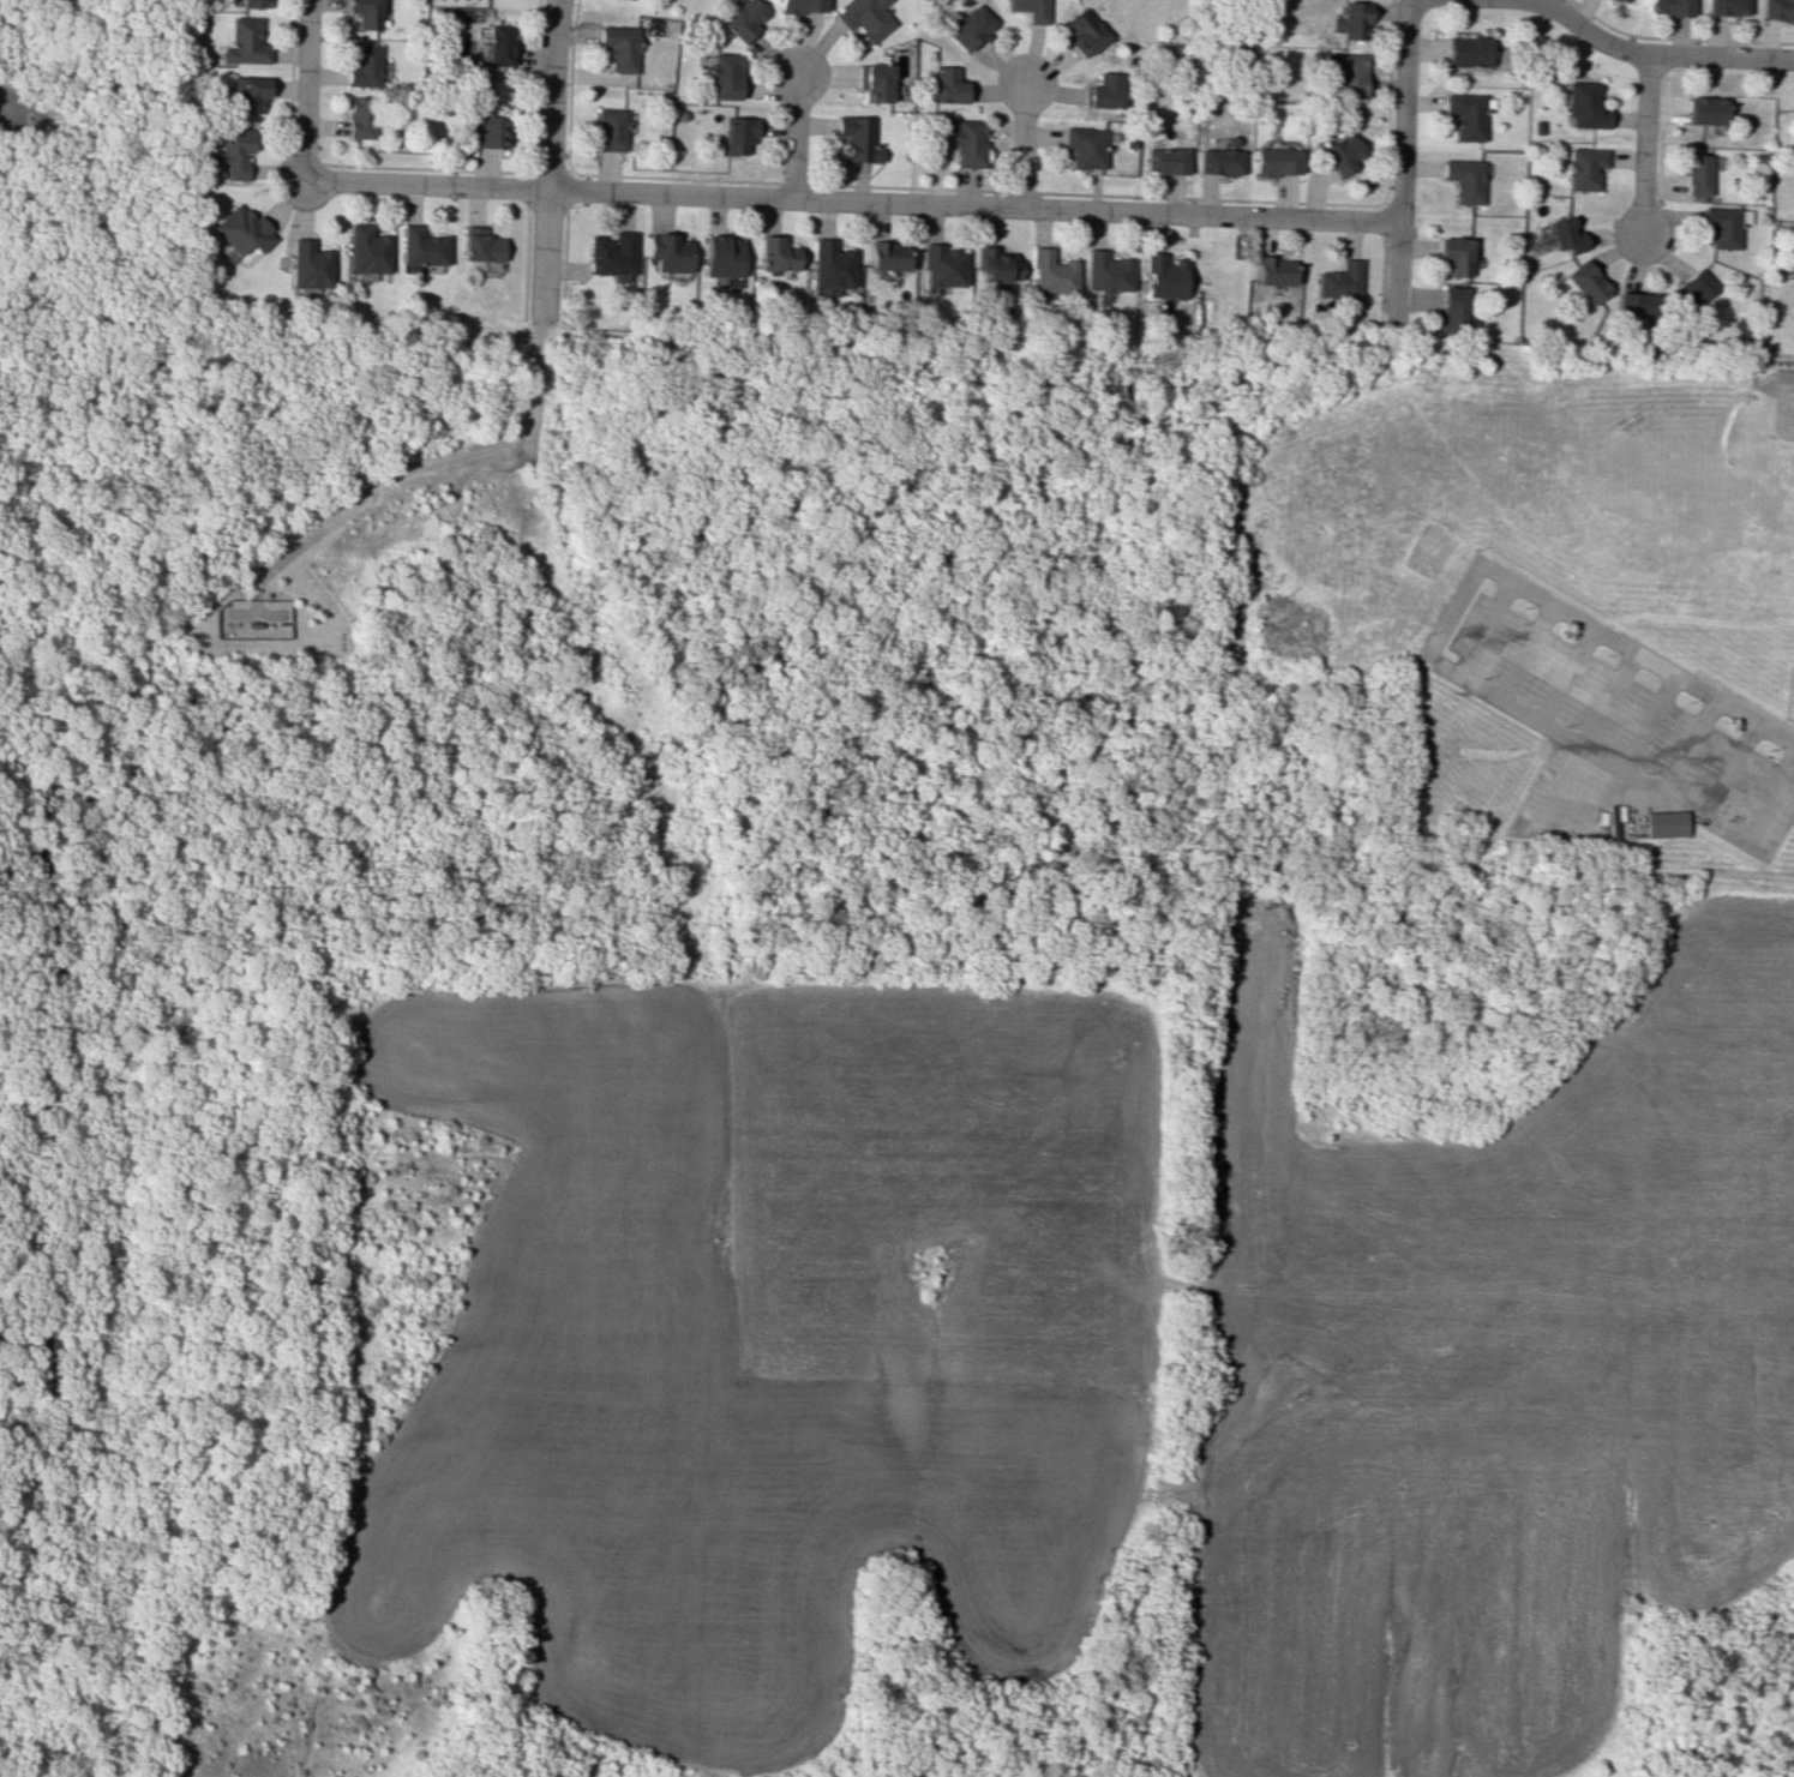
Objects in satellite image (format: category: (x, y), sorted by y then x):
building: (1619, 0)
building: (254, 4)
building: (800, 6)
building: (1668, 7)
building: (1724, 7)
building: (1030, 10)
building: (1776, 10)
building: (364, 13)
building: (743, 18)
building: (863, 18)
building: (1349, 20)
building: (968, 26)
building: (1082, 32)
road: (59, 35)
building: (244, 42)
building: (498, 44)
building: (619, 48)
building: (1463, 50)
road: (13, 58)
road: (1648, 58)
building: (362, 65)
road: (137, 68)
building: (1348, 74)
building: (724, 76)
building: (872, 80)
building: (946, 85)
building: (1103, 90)
road: (304, 91)
building: (245, 94)
road: (550, 94)
building: (1583, 106)
building: (1704, 109)
building: (1463, 115)
building: (358, 118)
building: (487, 130)
building: (608, 130)
building: (737, 133)
road: (792, 137)
building: (854, 139)
building: (965, 142)
building: (1082, 146)
road: (1021, 148)
road: (1643, 149)
building: (230, 150)
building: (1339, 154)
building: (1164, 160)
building: (1218, 161)
building: (1273, 161)
road: (1398, 161)
building: (1582, 168)
building: (1696, 174)
building: (1462, 179)
road: (847, 202)
building: (1722, 227)
building: (239, 229)
building: (1562, 234)
building: (479, 245)
building: (421, 246)
building: (366, 250)
building: (667, 252)
building: (773, 253)
road: (545, 254)
building: (1453, 254)
building: (611, 256)
building: (720, 256)
building: (886, 256)
building: (829, 265)
building: (995, 265)
building: (940, 266)
building: (307, 268)
building: (1270, 270)
building: (1104, 271)
building: (1049, 272)
building: (1160, 277)
building: (1338, 281)
building: (1584, 282)
building: (1690, 289)
building: (1634, 304)
building: (1450, 308)
road: (1781, 402)
parking lot: (1790, 420)
road: (414, 467)
road: (1514, 583)
road: (1486, 628)
road: (1526, 650)
road: (1567, 676)
road: (1649, 722)
road: (1591, 727)
parking lot: (1616, 736)
road: (1692, 745)
road: (1732, 766)
road: (1771, 797)
building: (1666, 826)
park: (74, 875)
park: (656, 1051)
crop: (1490, 1368)

